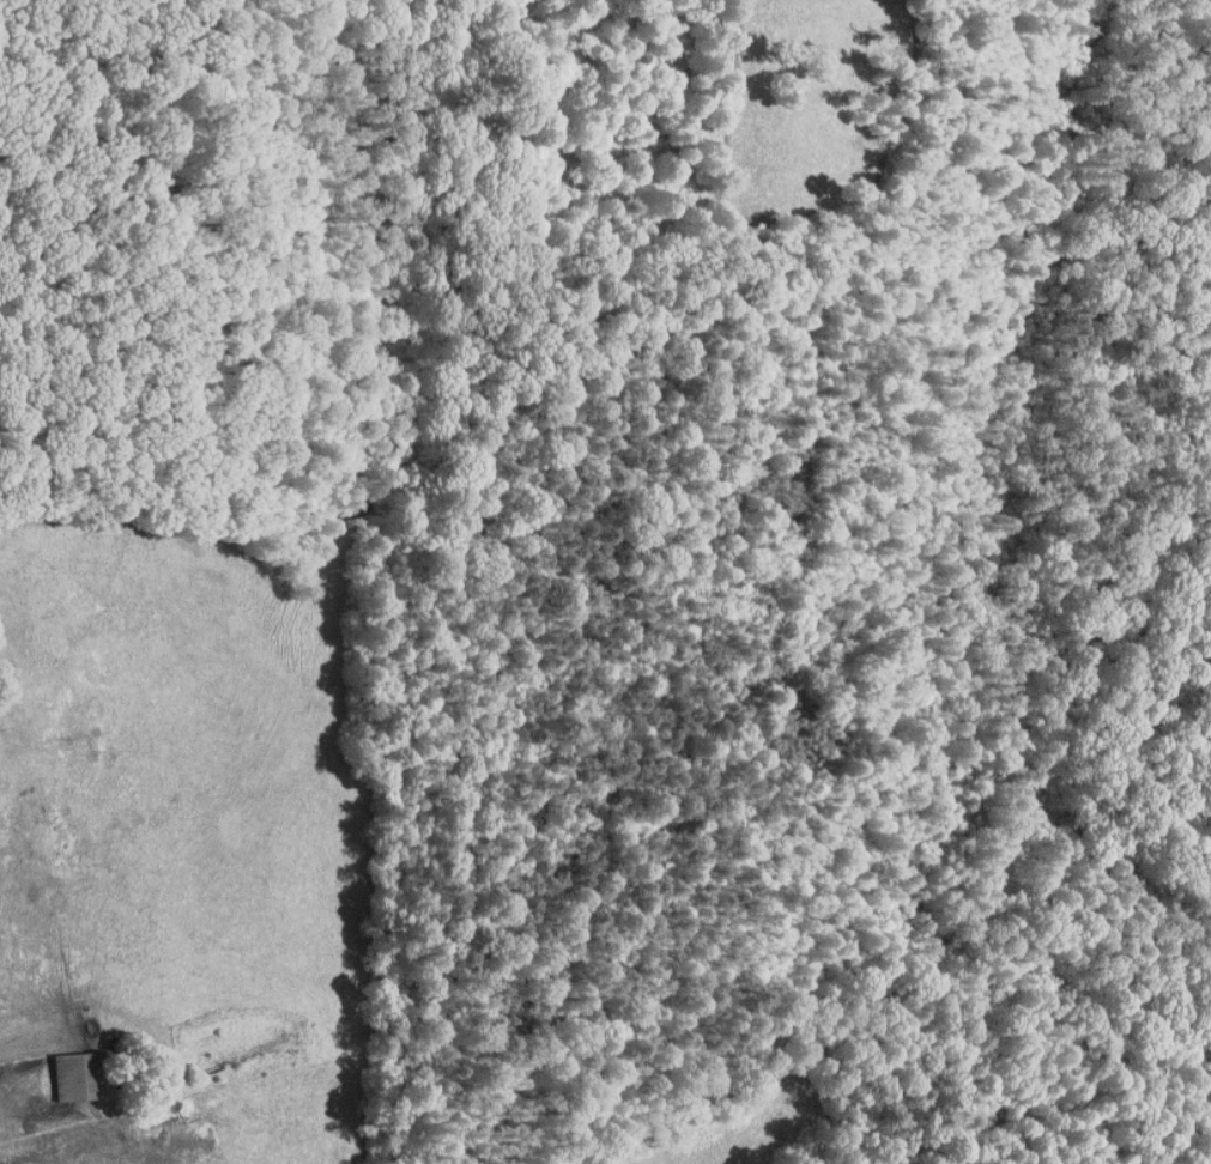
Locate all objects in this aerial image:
building: (62, 1068)

